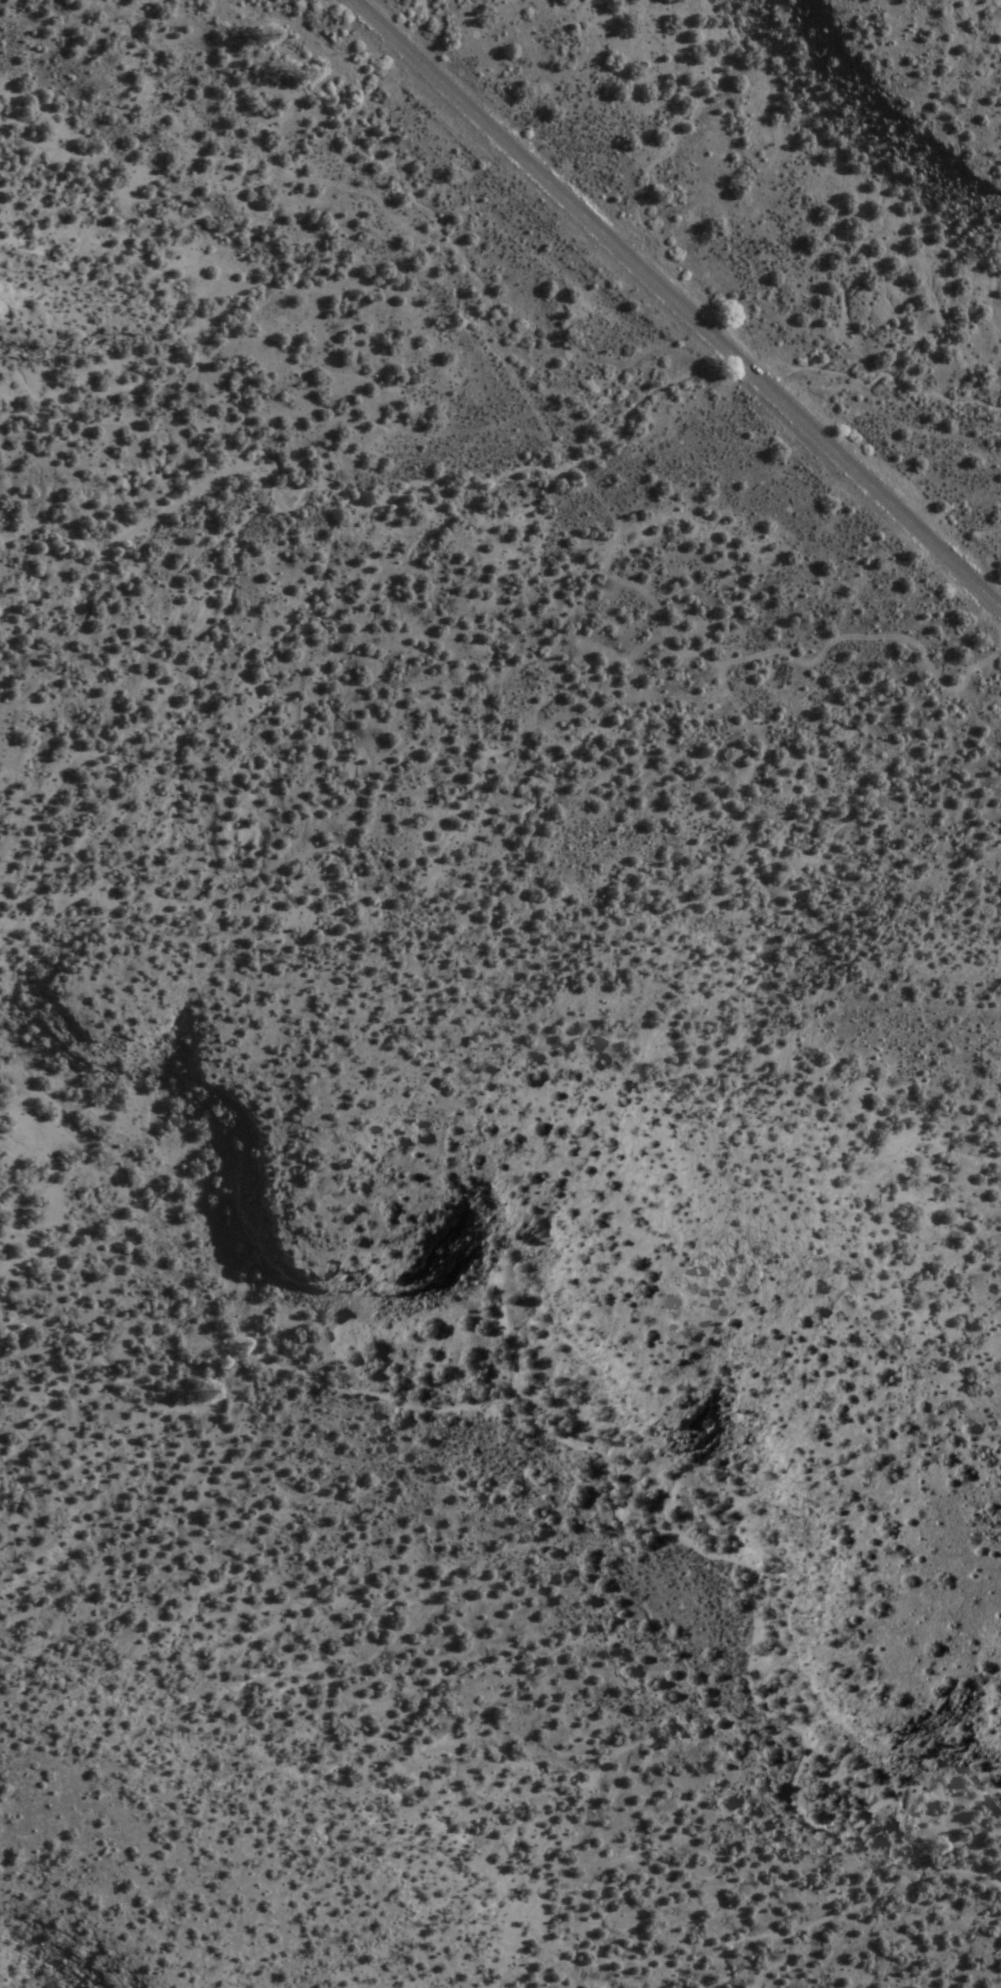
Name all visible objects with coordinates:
road: (676, 303)

